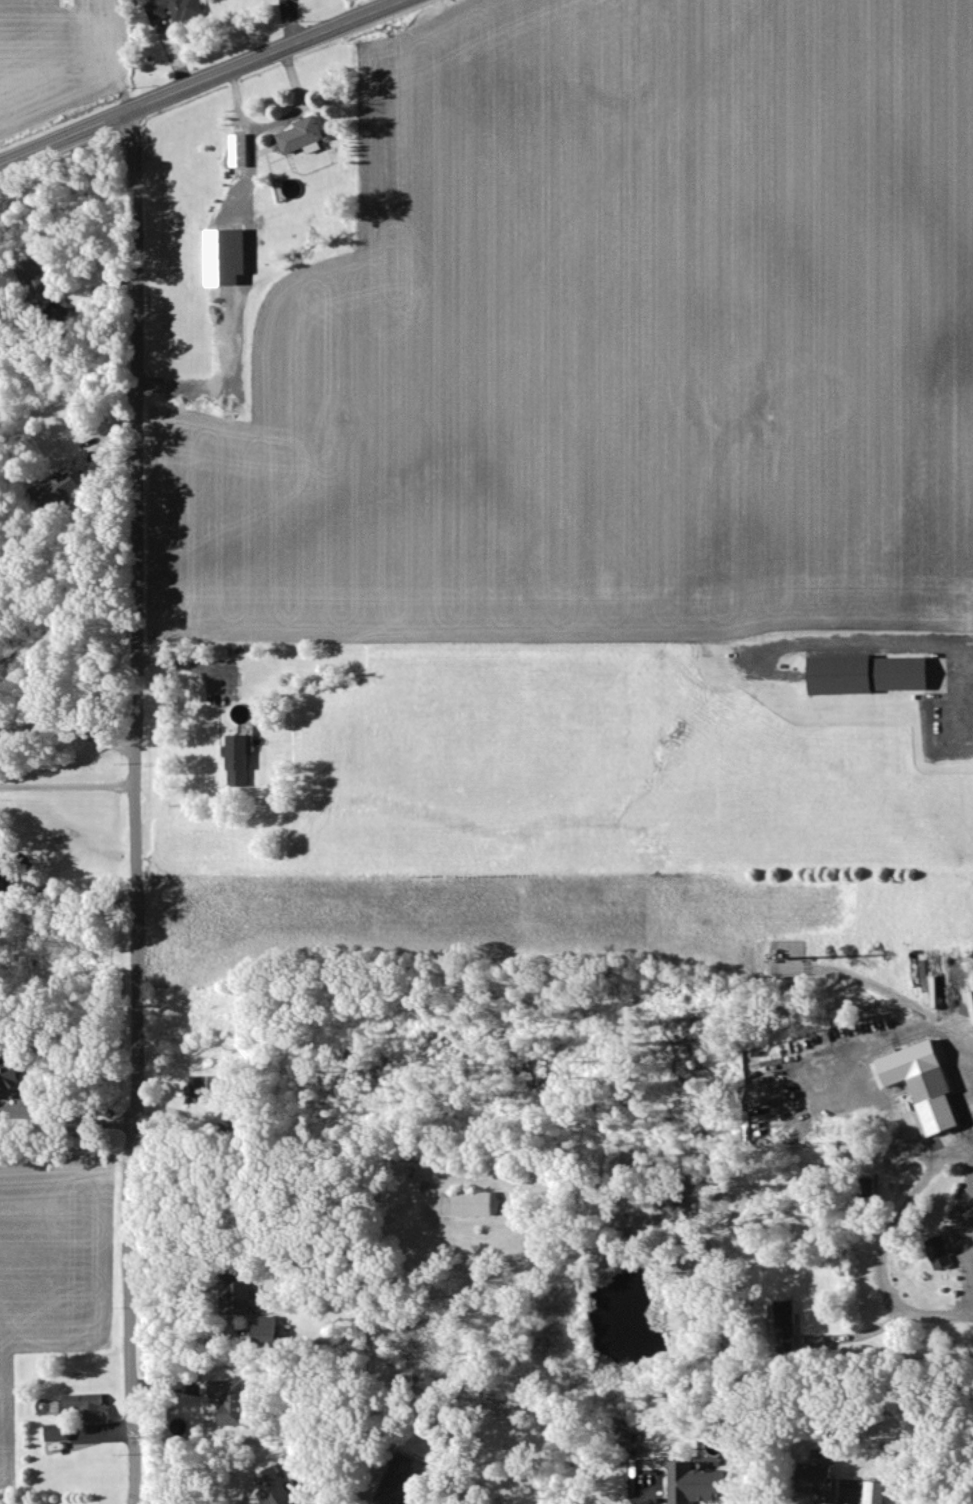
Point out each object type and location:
building: (179, 11)
road: (199, 81)
road: (304, 102)
building: (308, 138)
building: (243, 153)
building: (232, 259)
road: (254, 276)
building: (43, 286)
building: (63, 492)
road: (886, 646)
road: (183, 664)
building: (875, 677)
road: (70, 731)
building: (242, 763)
road: (69, 786)
road: (139, 805)
road: (70, 902)
road: (968, 1035)
building: (9, 1083)
building: (931, 1085)
building: (204, 1090)
road: (76, 1122)
building: (479, 1205)
road: (885, 1242)
building: (944, 1255)
building: (243, 1295)
road: (969, 1298)
road: (179, 1308)
building: (791, 1322)
building: (271, 1331)
building: (235, 1402)
building: (93, 1408)
building: (62, 1433)
building: (827, 1480)
building: (405, 1484)
building: (702, 1485)
building: (279, 1487)
building: (881, 1494)
road: (367, 1495)

